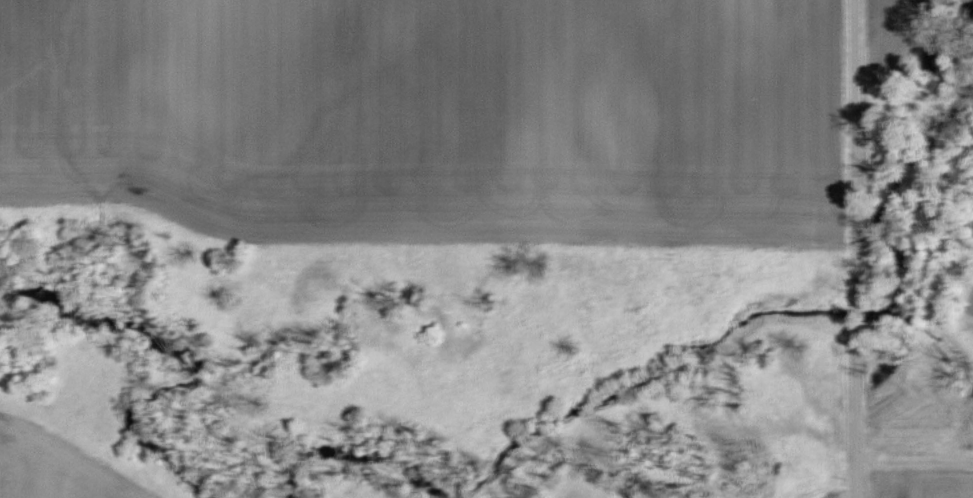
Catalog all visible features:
road: (843, 144)
road: (845, 309)
road: (847, 413)

